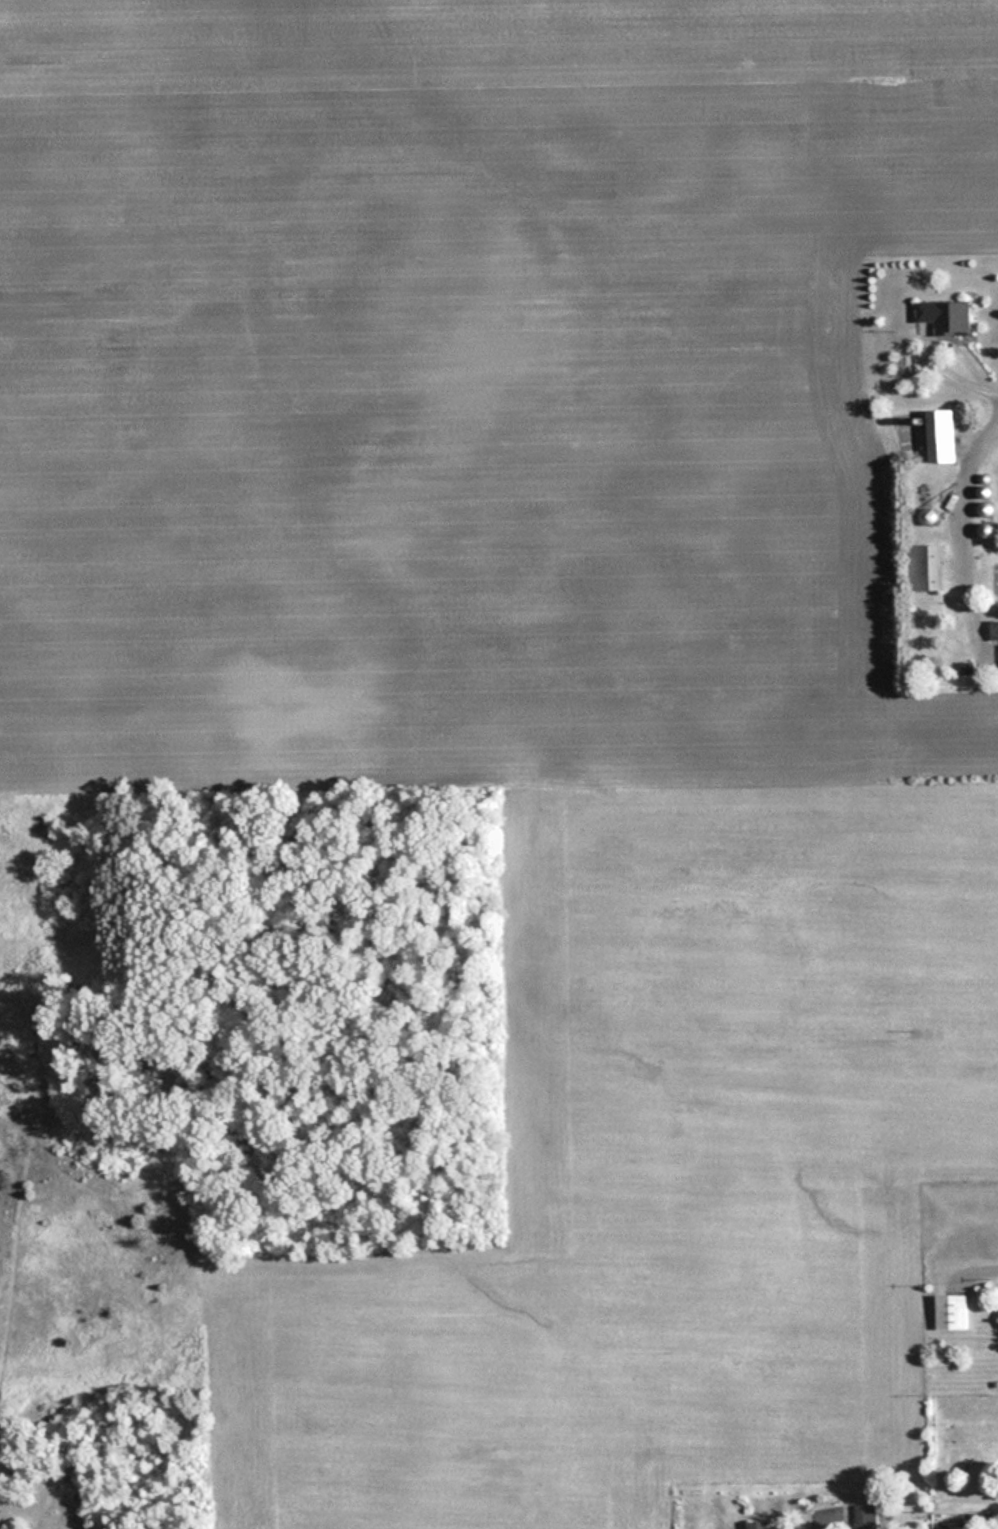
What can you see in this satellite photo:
building: (948, 316)
road: (932, 347)
road: (997, 395)
building: (945, 434)
building: (930, 518)
building: (925, 568)
building: (994, 630)
building: (951, 1311)
building: (866, 1516)
building: (979, 1517)
road: (821, 1521)
building: (758, 1525)

